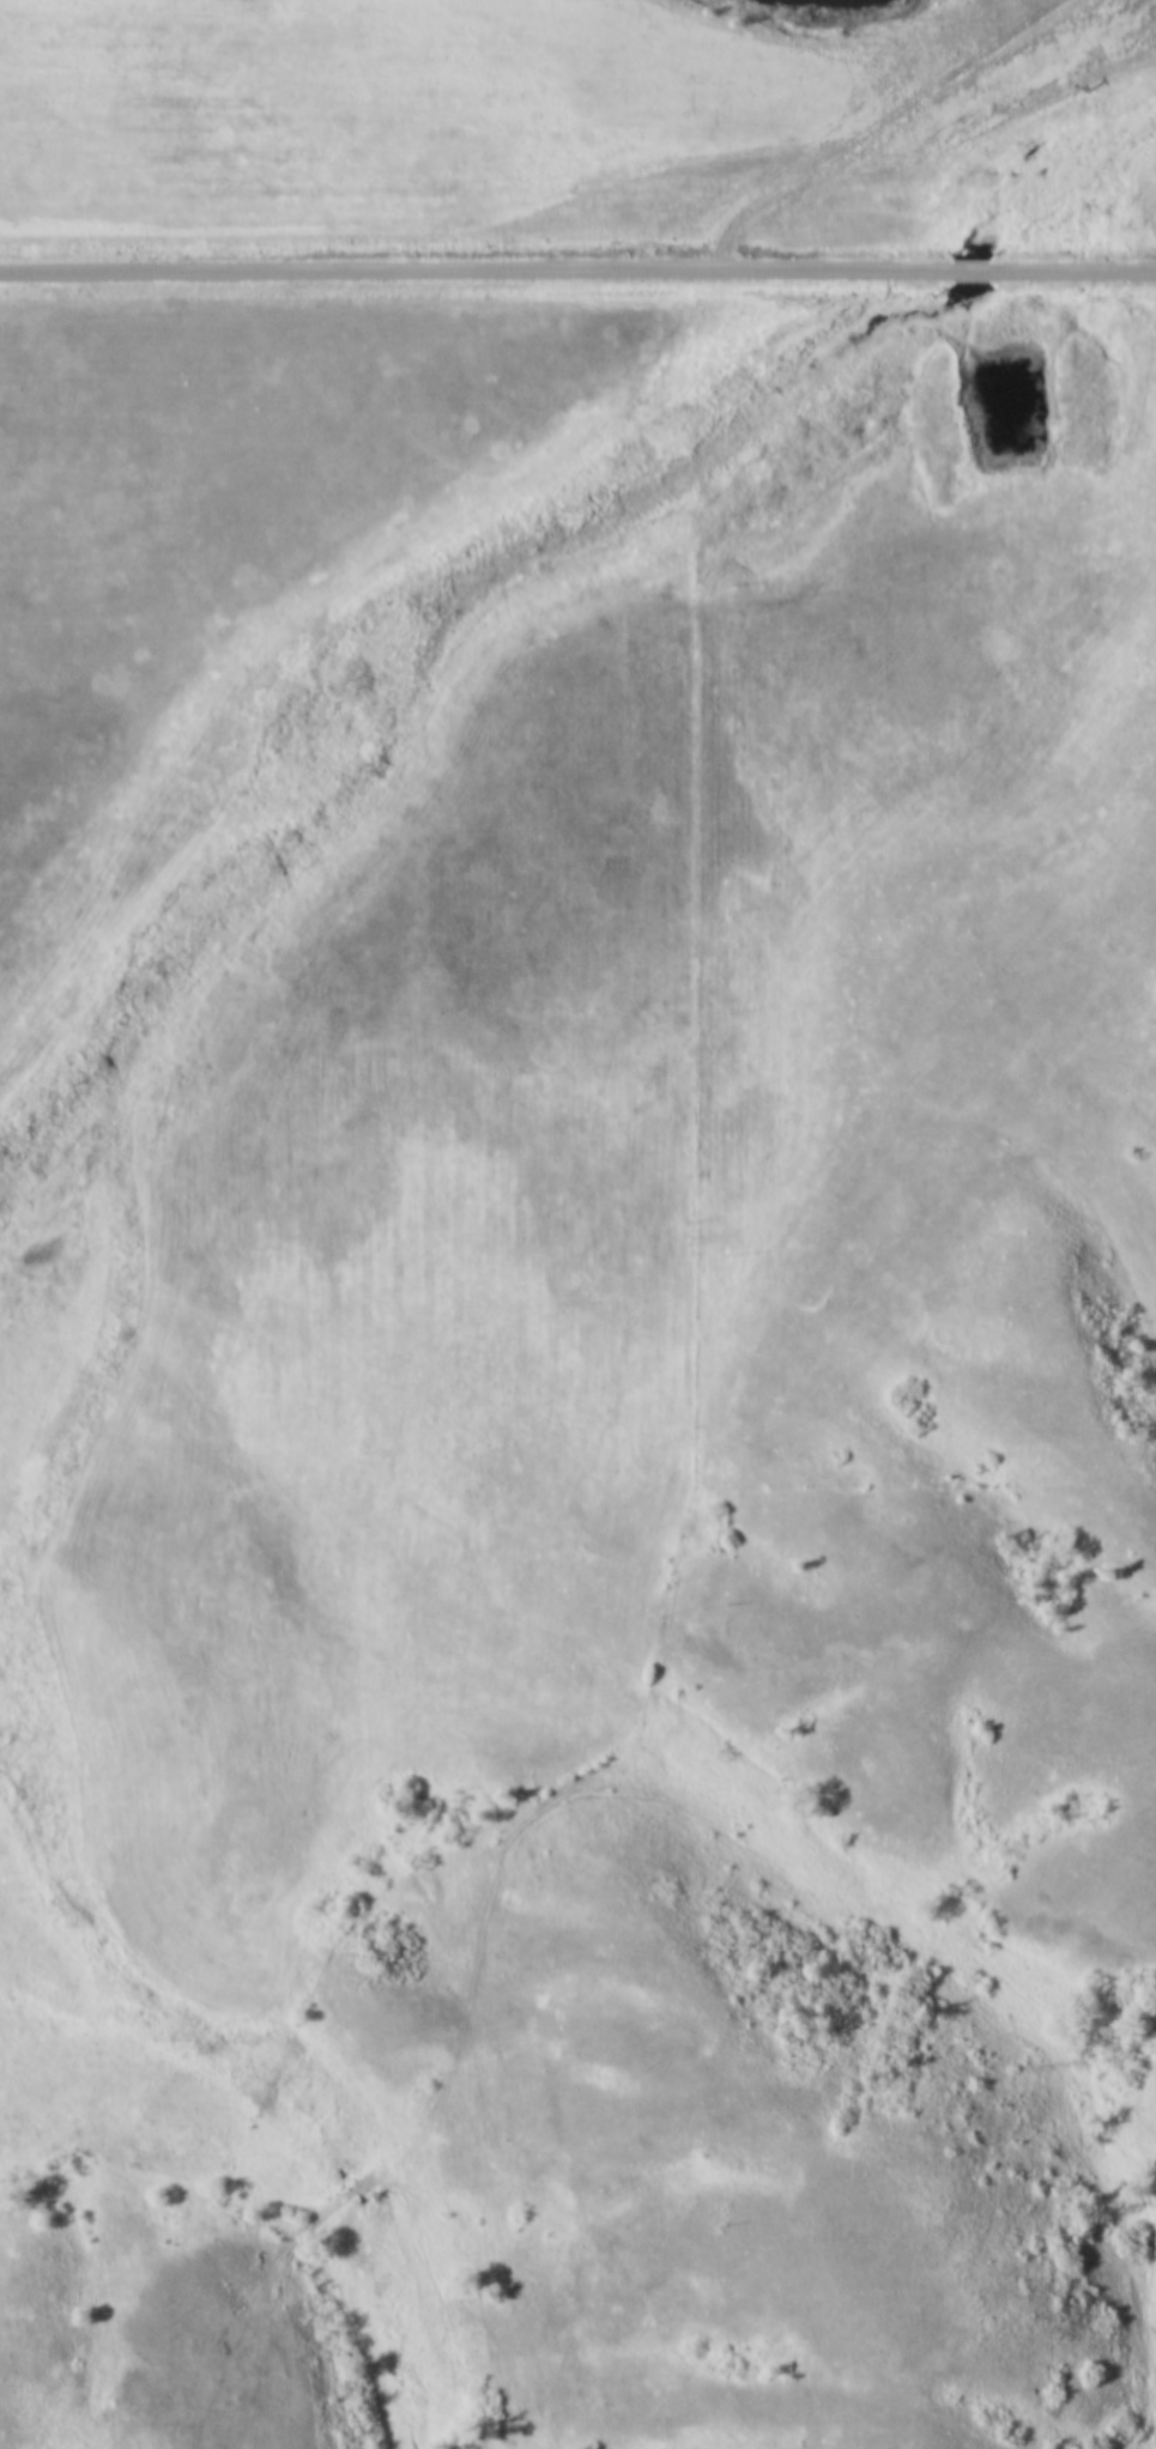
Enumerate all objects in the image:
road: (807, 170)
road: (577, 267)

